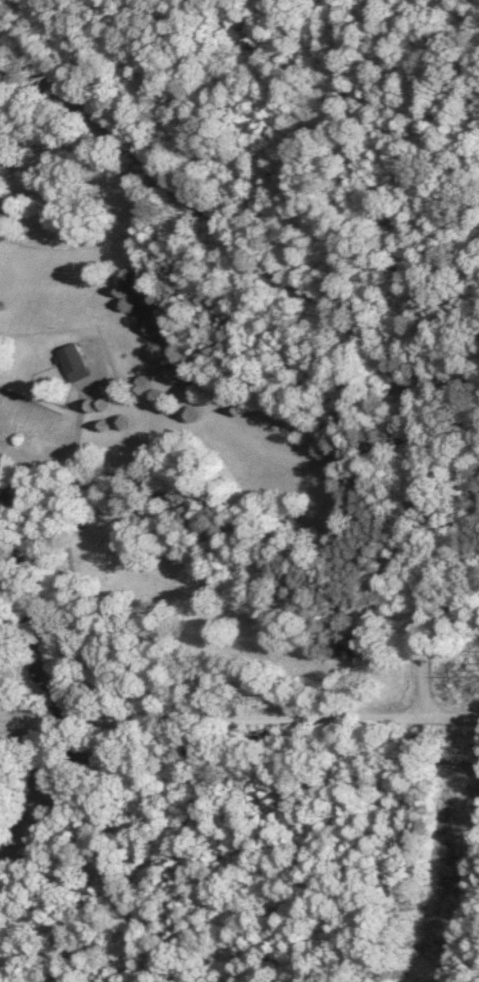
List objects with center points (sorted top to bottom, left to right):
road: (21, 88)
road: (334, 320)
building: (70, 362)
road: (239, 714)
road: (372, 897)

